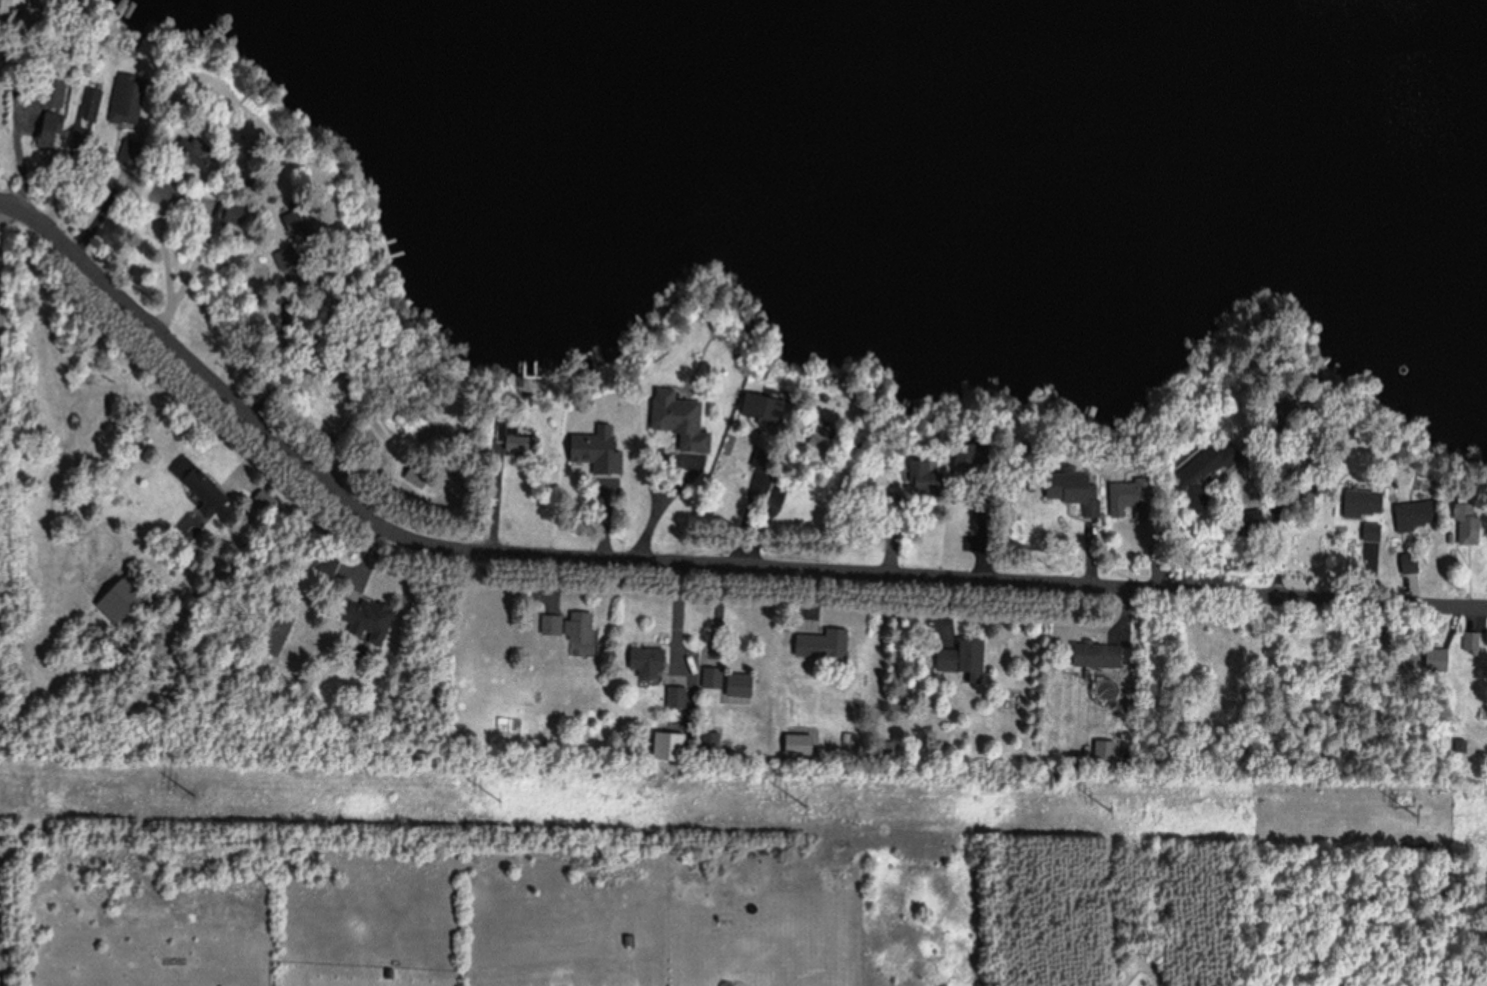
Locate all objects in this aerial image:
building: (60, 99)
building: (134, 100)
building: (56, 138)
building: (136, 152)
building: (199, 152)
building: (241, 214)
building: (770, 407)
building: (1210, 476)
building: (207, 495)
building: (1080, 499)
building: (1132, 501)
building: (1373, 504)
building: (1417, 518)
building: (1415, 565)
road: (682, 566)
building: (136, 586)
building: (371, 619)
building: (575, 630)
building: (826, 644)
building: (1102, 656)
building: (967, 660)
building: (1439, 660)
building: (652, 661)
building: (715, 678)
building: (742, 688)
building: (680, 697)

